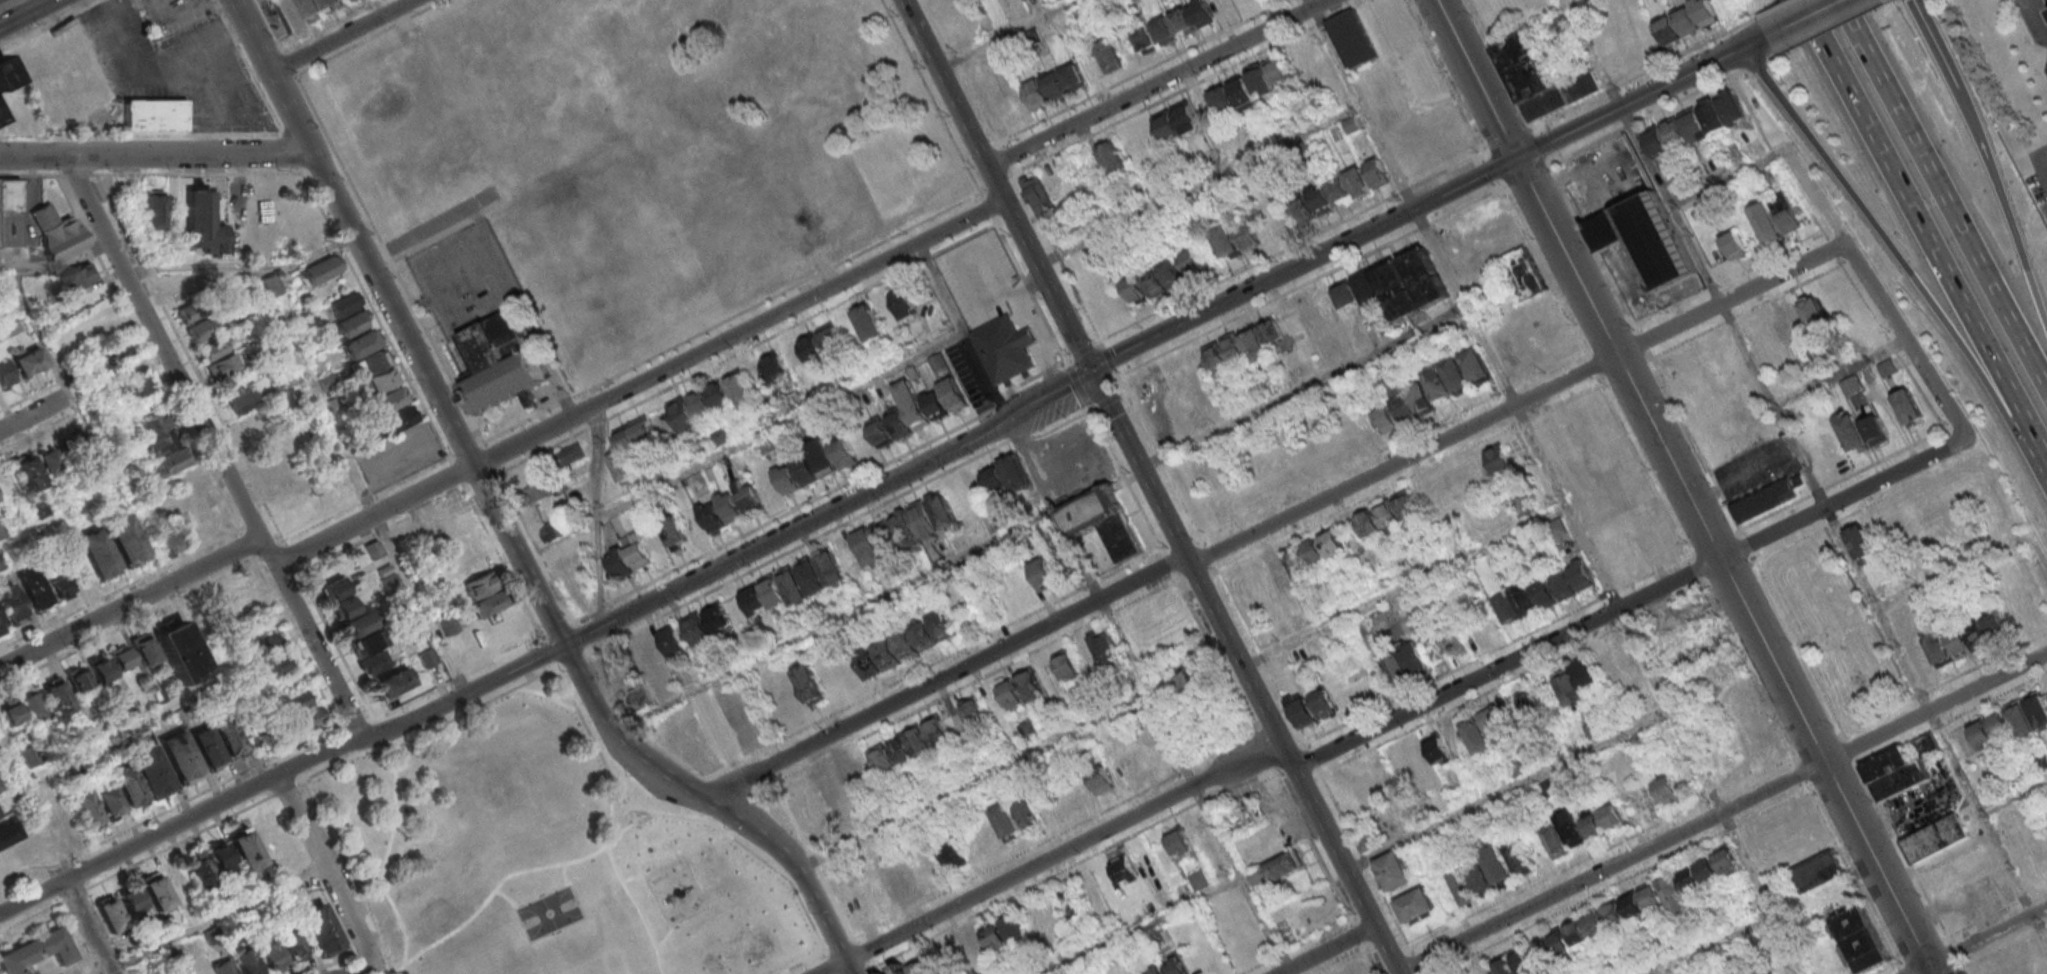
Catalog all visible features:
building: (183, 0)
building: (187, 0)
building: (349, 1)
building: (939, 3)
road: (1576, 3)
road: (10, 5)
building: (319, 7)
road: (175, 9)
road: (1769, 10)
building: (1201, 12)
road: (2041, 12)
parking lot: (174, 13)
road: (1812, 14)
building: (275, 18)
building: (1182, 21)
building: (1687, 21)
road: (48, 24)
road: (326, 25)
road: (270, 28)
road: (1828, 28)
road: (1012, 30)
building: (1164, 31)
road: (256, 34)
road: (341, 34)
road: (365, 37)
building: (1144, 38)
building: (1353, 40)
road: (214, 41)
road: (1934, 44)
road: (272, 53)
building: (1108, 55)
parking lot: (170, 60)
road: (288, 62)
road: (1756, 63)
road: (943, 64)
road: (249, 66)
road: (1502, 66)
building: (1525, 67)
road: (162, 68)
building: (62, 73)
building: (631, 73)
road: (1138, 73)
road: (1637, 74)
building: (5, 75)
road: (285, 78)
road: (1446, 78)
road: (1476, 79)
building: (1063, 81)
road: (1159, 82)
building: (1259, 82)
road: (1176, 93)
road: (1648, 93)
building: (1221, 97)
road: (931, 99)
building: (1026, 99)
road: (1363, 103)
road: (1643, 116)
building: (159, 117)
building: (1176, 121)
road: (319, 124)
building: (1696, 124)
road: (300, 128)
road: (142, 134)
road: (1508, 138)
road: (1541, 143)
road: (984, 147)
road: (293, 149)
road: (2042, 153)
road: (157, 155)
building: (1112, 156)
traffic signals: (1515, 158)
road: (2042, 163)
parking lot: (2044, 163)
road: (1492, 168)
road: (318, 171)
road: (201, 172)
road: (1013, 172)
road: (33, 173)
road: (79, 173)
road: (1526, 174)
road: (1728, 177)
road: (1201, 183)
road: (998, 185)
building: (1350, 186)
road: (981, 187)
building: (1039, 195)
road: (1940, 197)
building: (256, 204)
road: (987, 207)
building: (1302, 208)
road: (2003, 208)
building: (11, 212)
road: (1909, 215)
building: (157, 216)
road: (1008, 217)
building: (1776, 219)
building: (207, 223)
road: (427, 227)
building: (59, 232)
building: (1248, 236)
road: (966, 237)
building: (1224, 238)
road: (1881, 240)
building: (1656, 242)
building: (1734, 244)
road: (1290, 245)
road: (387, 257)
road: (925, 257)
road: (66, 264)
road: (1303, 264)
road: (246, 267)
road: (1841, 268)
building: (322, 269)
building: (1525, 275)
building: (1163, 277)
building: (80, 278)
parking lot: (465, 278)
road: (1311, 279)
parking lot: (982, 280)
building: (1412, 284)
building: (273, 285)
road: (1029, 290)
building: (1358, 291)
building: (180, 292)
road: (1874, 292)
building: (904, 302)
building: (345, 304)
road: (13, 308)
building: (1306, 309)
road: (374, 311)
building: (189, 312)
building: (1803, 317)
road: (727, 318)
building: (868, 322)
building: (203, 329)
road: (962, 329)
building: (356, 334)
building: (830, 336)
road: (762, 338)
building: (1263, 339)
road: (1644, 345)
building: (811, 347)
building: (214, 348)
building: (1005, 351)
road: (1083, 351)
building: (1225, 353)
road: (1106, 356)
building: (29, 362)
building: (937, 362)
building: (369, 363)
building: (502, 364)
building: (773, 364)
building: (223, 365)
building: (1887, 367)
traffic signals: (1093, 372)
building: (1457, 373)
road: (1839, 373)
building: (6, 374)
road: (1038, 375)
road: (1084, 376)
road: (1117, 378)
building: (1182, 380)
road: (641, 381)
road: (1076, 384)
building: (1850, 386)
building: (136, 387)
building: (740, 387)
road: (1507, 388)
road: (1304, 389)
building: (953, 394)
road: (33, 396)
road: (1106, 399)
building: (390, 400)
road: (998, 400)
building: (242, 401)
building: (530, 401)
building: (1411, 401)
road: (1514, 404)
building: (700, 405)
building: (912, 405)
building: (935, 405)
building: (1908, 407)
road: (37, 415)
building: (1385, 418)
road: (1523, 419)
road: (596, 421)
road: (1060, 423)
building: (250, 424)
road: (780, 424)
building: (807, 428)
building: (888, 428)
building: (1860, 431)
road: (36, 432)
road: (1020, 437)
building: (631, 444)
building: (164, 446)
road: (217, 446)
road: (539, 449)
road: (2036, 449)
road: (199, 451)
road: (240, 453)
building: (571, 454)
road: (489, 455)
road: (1800, 456)
building: (1499, 458)
road: (449, 459)
parking lot: (1072, 460)
building: (49, 461)
building: (814, 464)
road: (1163, 468)
building: (29, 472)
road: (456, 472)
building: (1014, 472)
road: (1646, 472)
road: (112, 474)
road: (487, 476)
road: (359, 479)
road: (1124, 479)
building: (540, 491)
building: (749, 496)
building: (1767, 498)
building: (191, 499)
building: (730, 506)
road: (798, 506)
building: (1094, 509)
building: (1409, 509)
road: (597, 515)
building: (712, 515)
road: (821, 516)
road: (60, 518)
building: (1378, 518)
building: (1895, 521)
road: (2009, 528)
building: (557, 529)
building: (673, 530)
building: (1125, 537)
building: (886, 538)
building: (126, 540)
road: (1179, 542)
building: (1333, 542)
building: (170, 543)
building: (1860, 543)
road: (535, 544)
road: (1748, 544)
road: (795, 546)
building: (373, 548)
building: (869, 549)
building: (1314, 552)
building: (98, 553)
road: (1206, 553)
building: (630, 556)
road: (2035, 557)
road: (520, 558)
road: (503, 562)
building: (1295, 562)
road: (1168, 563)
road: (1726, 564)
road: (238, 565)
road: (1949, 571)
building: (1042, 572)
building: (812, 577)
building: (388, 578)
road: (1198, 579)
building: (1271, 582)
building: (480, 584)
building: (59, 586)
road: (1184, 586)
road: (119, 587)
road: (1405, 587)
building: (33, 589)
building: (335, 589)
road: (1612, 589)
building: (236, 590)
road: (1614, 592)
building: (764, 596)
building: (1534, 596)
road: (131, 602)
building: (11, 604)
building: (489, 604)
road: (1626, 605)
road: (598, 607)
building: (1505, 608)
road: (580, 615)
building: (353, 617)
road: (1635, 617)
building: (718, 618)
road: (832, 620)
building: (1, 625)
park: (1837, 626)
road: (556, 628)
building: (697, 628)
road: (579, 634)
building: (1961, 636)
building: (672, 641)
building: (366, 642)
building: (1454, 642)
building: (903, 644)
building: (144, 648)
building: (1107, 651)
road: (549, 652)
road: (1212, 652)
building: (182, 654)
road: (1803, 654)
building: (270, 655)
building: (648, 655)
building: (120, 656)
road: (571, 658)
road: (933, 661)
building: (375, 662)
road: (1262, 663)
building: (1406, 663)
building: (1067, 665)
building: (101, 669)
road: (1243, 673)
road: (456, 677)
road: (942, 677)
building: (77, 678)
building: (1193, 679)
building: (1575, 681)
building: (392, 682)
building: (810, 684)
road: (961, 686)
building: (1022, 688)
building: (56, 695)
road: (555, 698)
building: (641, 700)
building: (1323, 702)
building: (294, 703)
building: (1529, 703)
road: (1153, 705)
building: (35, 707)
building: (973, 709)
building: (1301, 710)
building: (12, 714)
road: (1952, 716)
building: (2020, 719)
building: (307, 720)
road: (356, 721)
road: (630, 722)
road: (121, 727)
building: (1029, 728)
building: (1592, 728)
road: (242, 729)
building: (1483, 729)
building: (729, 730)
building: (938, 731)
building: (1981, 734)
building: (227, 735)
road: (1216, 738)
building: (268, 739)
road: (347, 741)
road: (387, 741)
building: (911, 745)
building: (1927, 745)
building: (207, 748)
building: (1437, 748)
road: (1263, 749)
building: (181, 757)
building: (882, 760)
building: (2041, 762)
road: (1184, 766)
building: (1517, 766)
road: (297, 769)
road: (322, 769)
building: (151, 771)
road: (278, 772)
road: (1798, 772)
building: (2022, 772)
building: (1895, 774)
building: (846, 777)
road: (972, 780)
building: (1101, 780)
road: (691, 783)
building: (1373, 784)
building: (128, 787)
building: (827, 787)
building: (1668, 788)
road: (1507, 789)
road: (1242, 790)
road: (1723, 790)
building: (108, 799)
road: (1200, 799)
road: (734, 800)
road: (37, 801)
road: (173, 804)
building: (85, 808)
road: (391, 809)
road: (1721, 811)
building: (0, 814)
road: (675, 815)
building: (1006, 820)
road: (638, 821)
building: (1603, 821)
building: (1571, 828)
building: (8, 834)
building: (1934, 838)
building: (1554, 840)
building: (1180, 842)
road: (1312, 845)
building: (245, 848)
road: (1901, 849)
road: (1061, 851)
building: (951, 853)
building: (221, 857)
building: (1518, 857)
road: (383, 860)
road: (1362, 860)
road: (329, 865)
building: (1285, 865)
building: (1124, 868)
road: (1645, 869)
building: (1490, 870)
building: (199, 871)
road: (978, 872)
building: (1393, 872)
building: (1817, 873)
road: (346, 874)
road: (564, 874)
road: (635, 875)
road: (504, 877)
building: (1699, 877)
road: (1852, 877)
road: (620, 879)
building: (1199, 879)
building: (897, 880)
road: (1026, 886)
building: (1462, 886)
building: (157, 892)
road: (75, 893)
road: (506, 897)
building: (1642, 900)
building: (132, 904)
building: (1416, 904)
building: (1071, 906)
road: (1996, 911)
park: (548, 912)
building: (1614, 913)
road: (32, 915)
building: (111, 915)
road: (213, 918)
building: (1595, 923)
road: (1143, 925)
road: (1, 926)
road: (90, 926)
building: (321, 931)
building: (1576, 932)
road: (1357, 934)
road: (1986, 935)
road: (667, 936)
building: (994, 938)
building: (1860, 939)
building: (1559, 941)
road: (1712, 943)
building: (292, 948)
road: (1995, 948)
road: (1325, 949)
building: (36, 951)
road: (1394, 952)
road: (1906, 954)
road: (1957, 957)
building: (271, 958)
road: (1369, 958)
building: (247, 960)
road: (338, 960)
building: (1523, 960)
road: (1415, 962)
building: (1174, 965)
building: (1503, 966)
road: (362, 967)
road: (832, 967)
building: (223, 968)
building: (913, 968)
building: (1764, 970)
road: (1918, 970)
building: (206, 972)
road: (1420, 972)
building: (886, 973)

